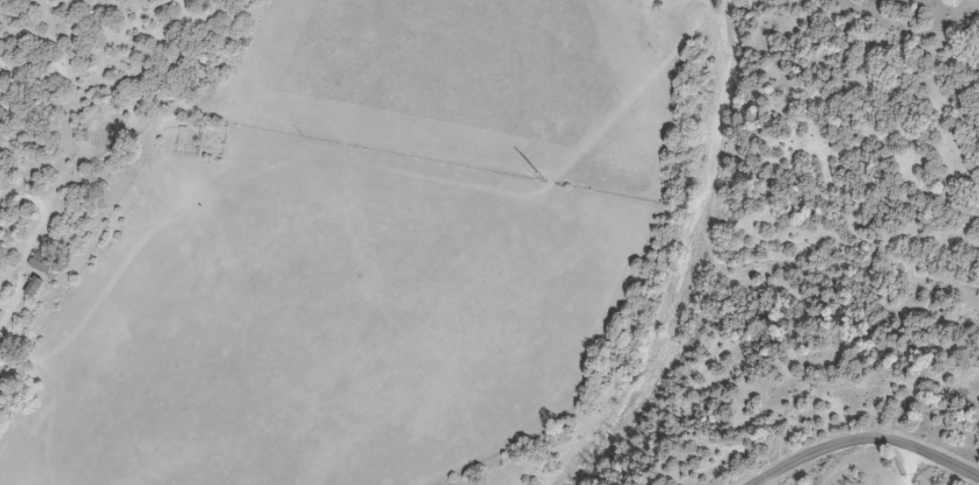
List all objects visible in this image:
power tower: (544, 176)
building: (39, 261)
building: (31, 285)
building: (1, 392)
road: (863, 437)
road: (910, 464)

